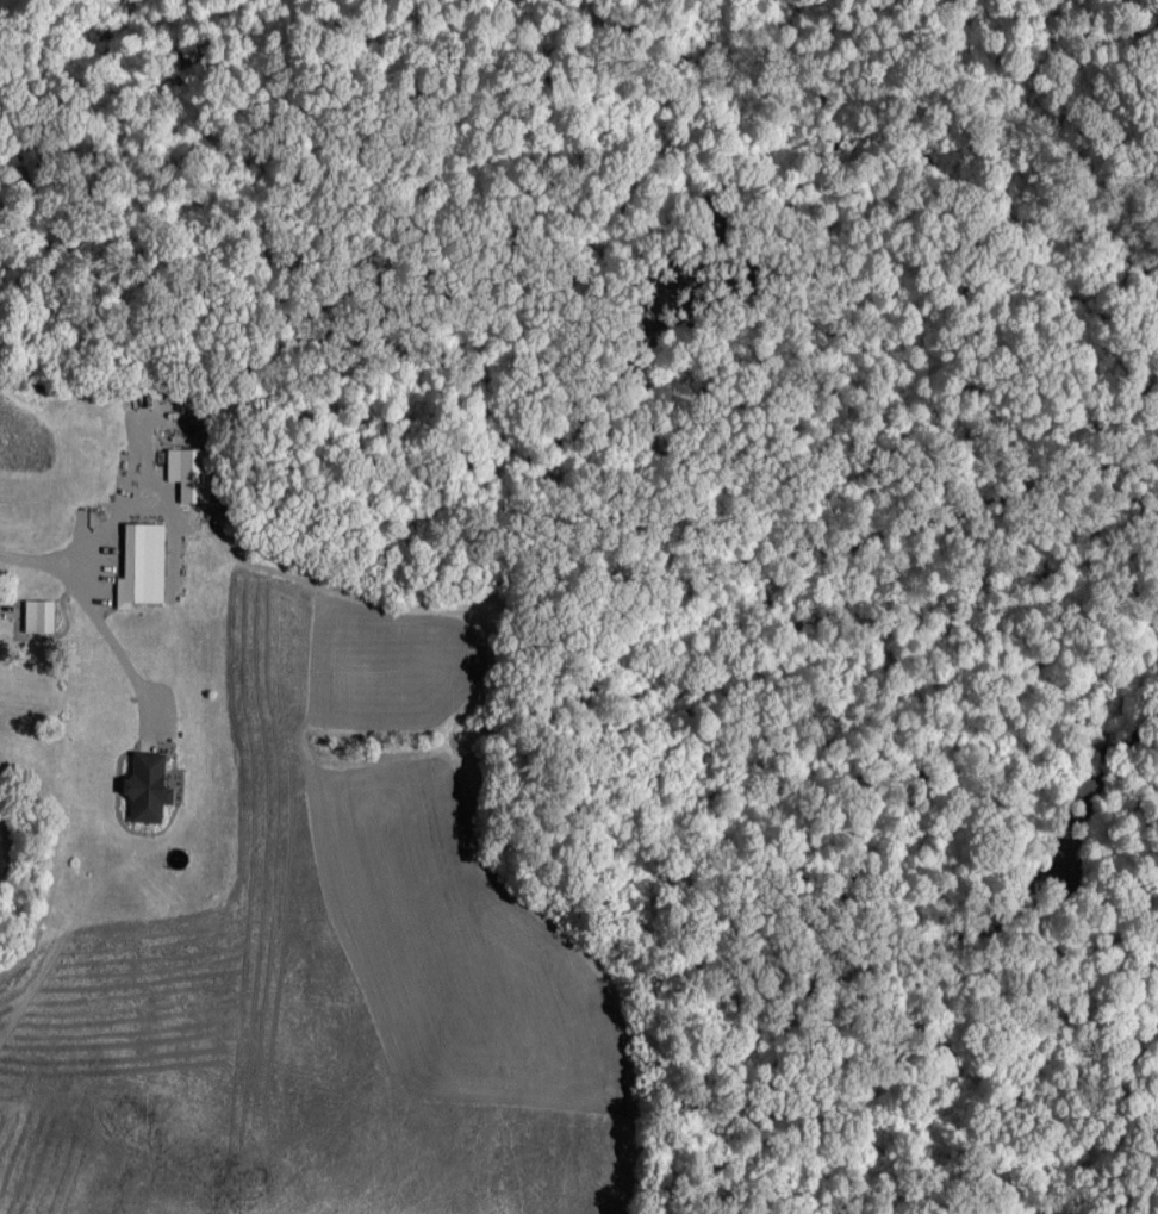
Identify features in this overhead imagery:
building: (188, 471)
road: (46, 556)
building: (141, 564)
building: (38, 614)
building: (147, 785)

